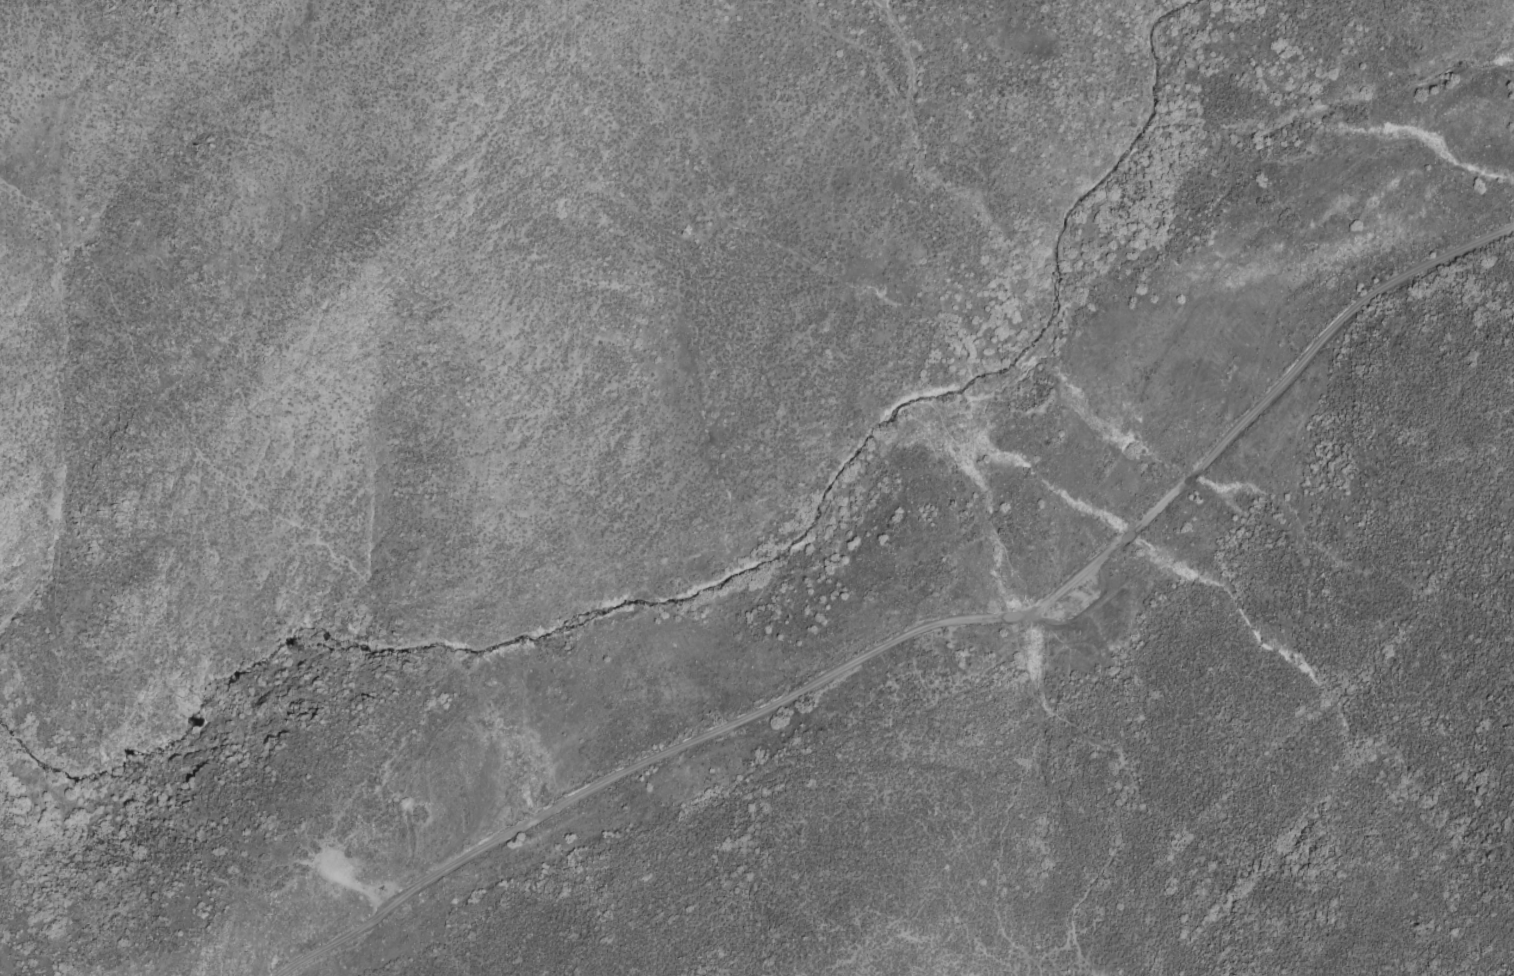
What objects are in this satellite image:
road: (920, 619)

